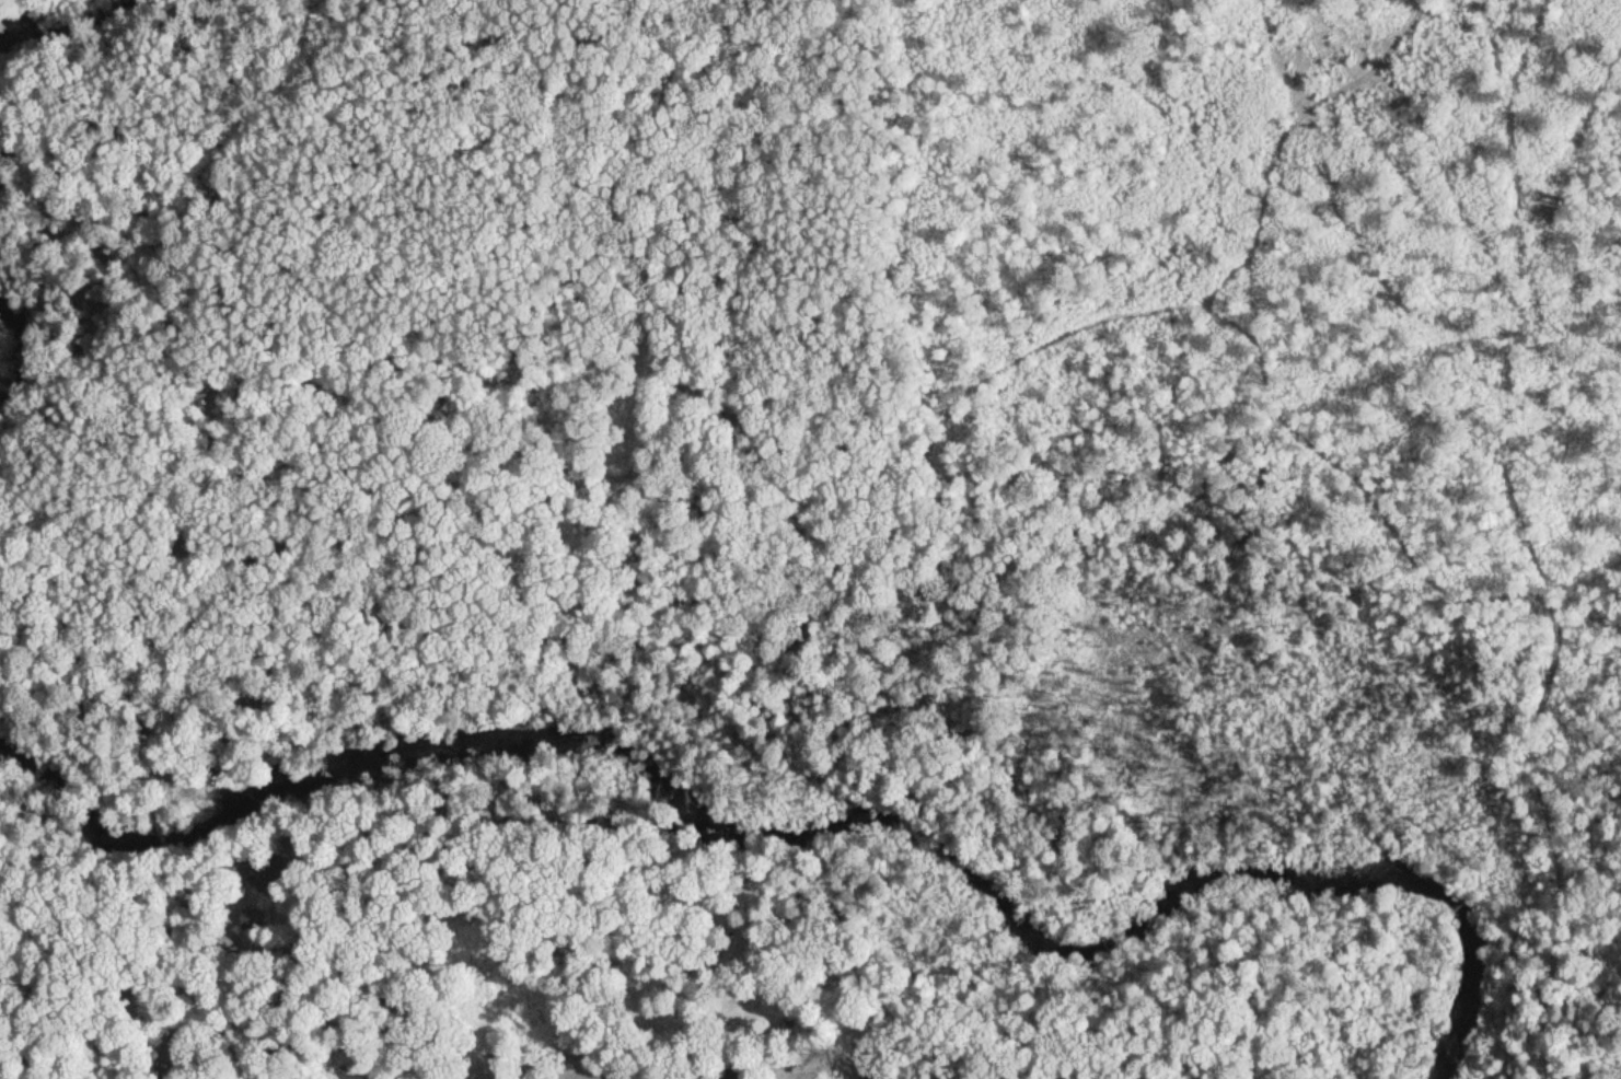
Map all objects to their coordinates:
river: (60, 23)
river: (13, 355)
river: (817, 825)

